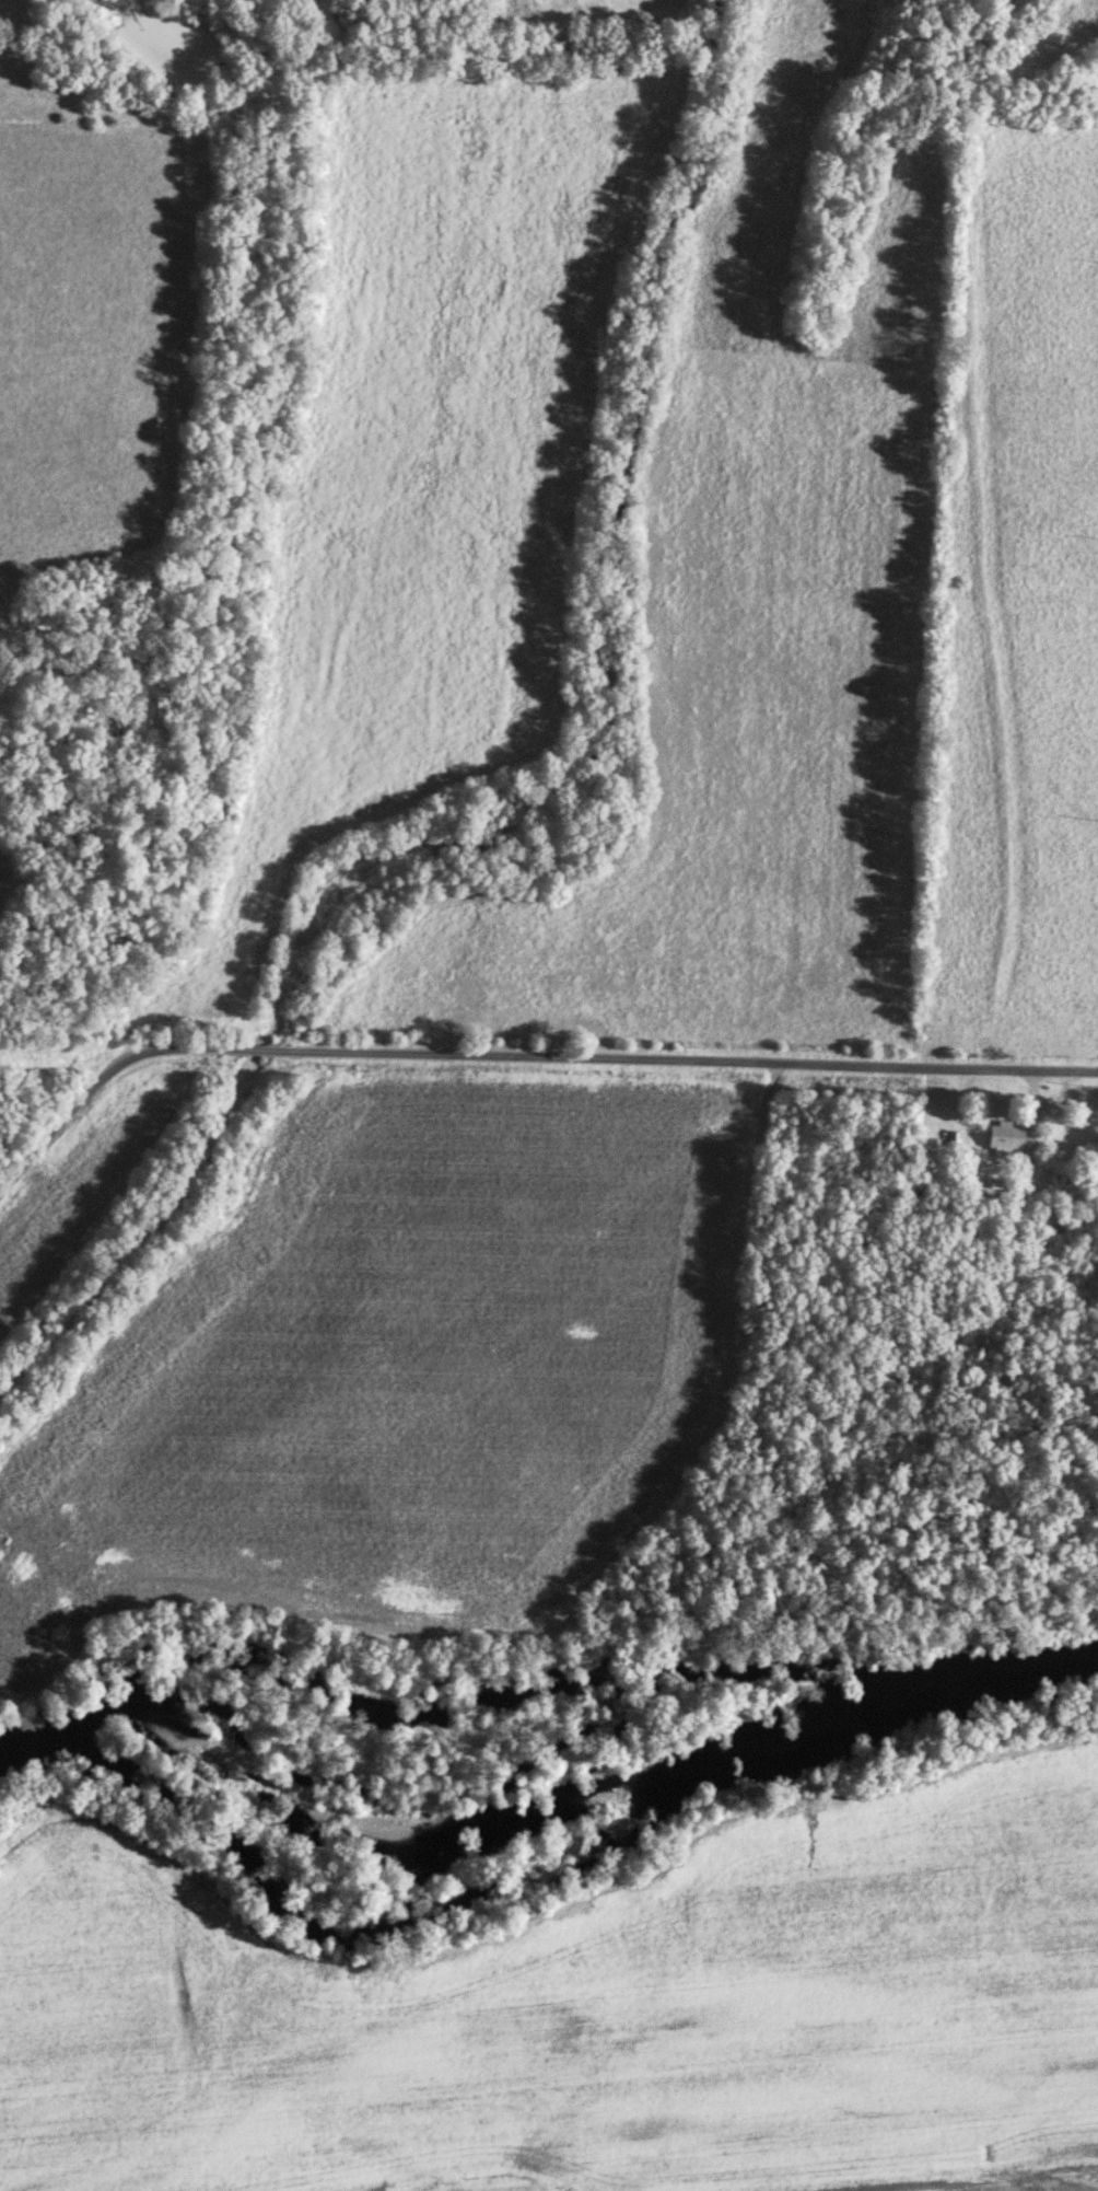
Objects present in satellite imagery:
road: (519, 1055)
building: (1013, 1137)

